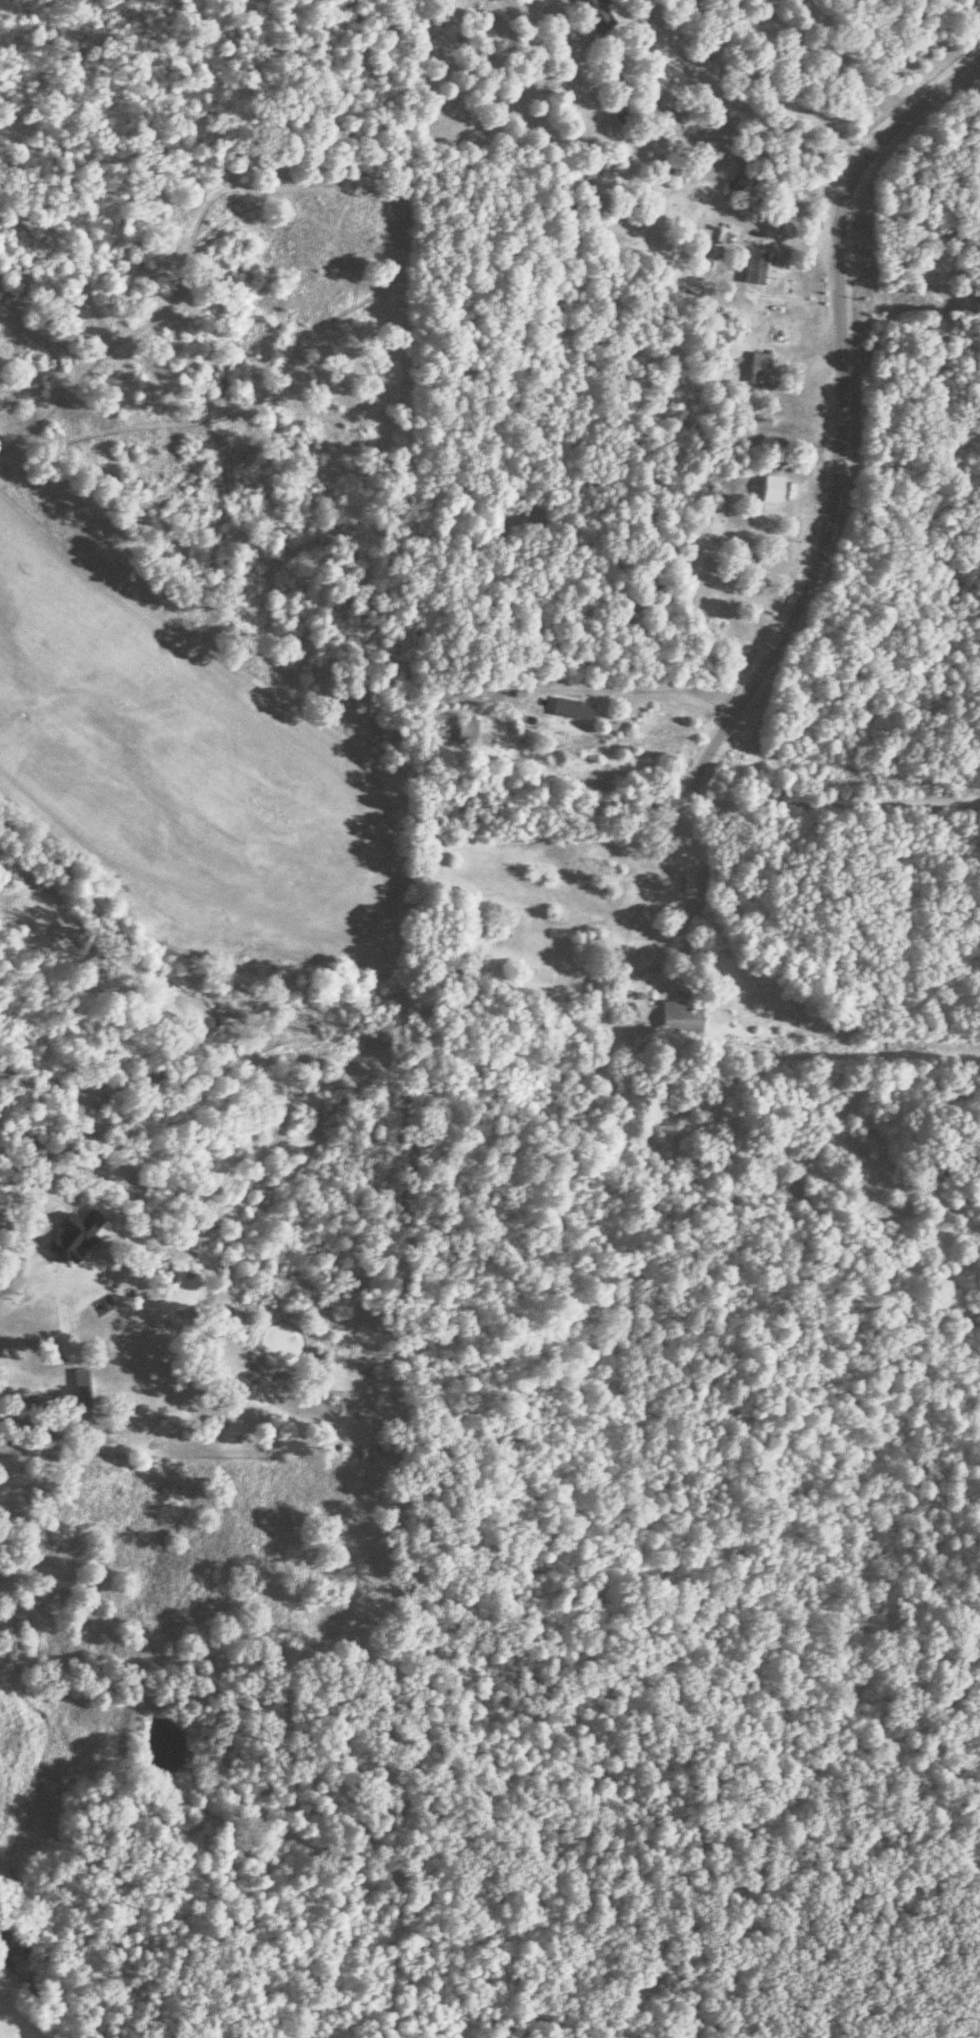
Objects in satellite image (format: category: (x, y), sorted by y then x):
building: (596, 15)
building: (626, 118)
building: (755, 267)
road: (839, 445)
building: (773, 490)
building: (748, 554)
building: (572, 710)
road: (613, 715)
building: (432, 716)
building: (466, 732)
road: (829, 805)
building: (603, 864)
building: (604, 889)
road: (648, 922)
building: (678, 1018)
road: (26, 1186)

